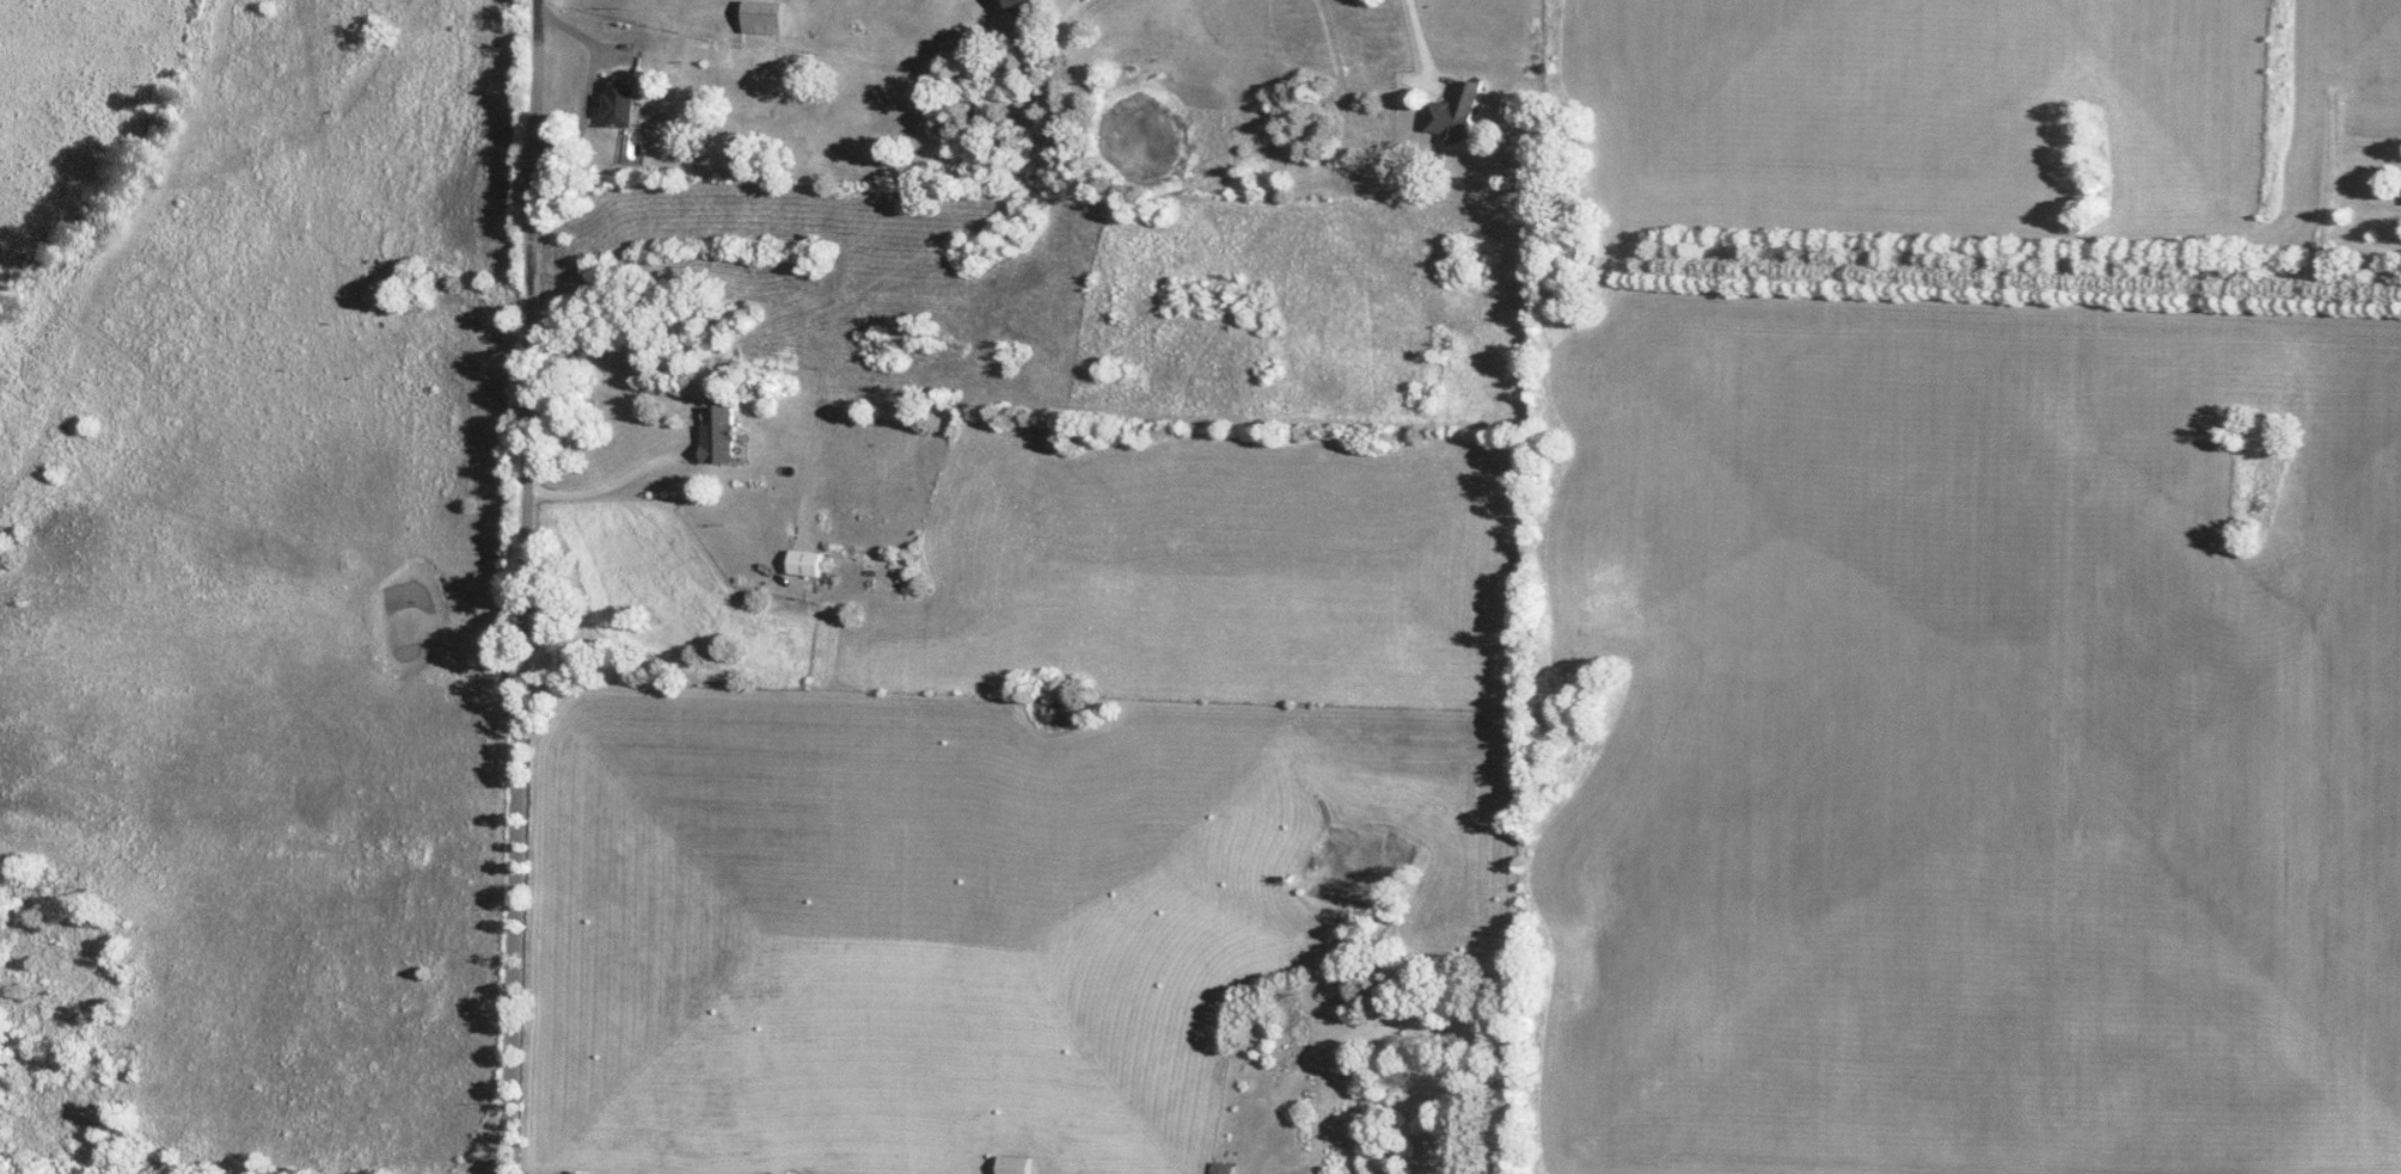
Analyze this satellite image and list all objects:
building: (1029, 5)
building: (766, 17)
road: (1419, 36)
road: (593, 45)
building: (621, 103)
building: (1456, 112)
building: (722, 434)
road: (619, 485)
building: (810, 563)
road: (525, 586)
building: (1019, 1164)
building: (1223, 1168)

